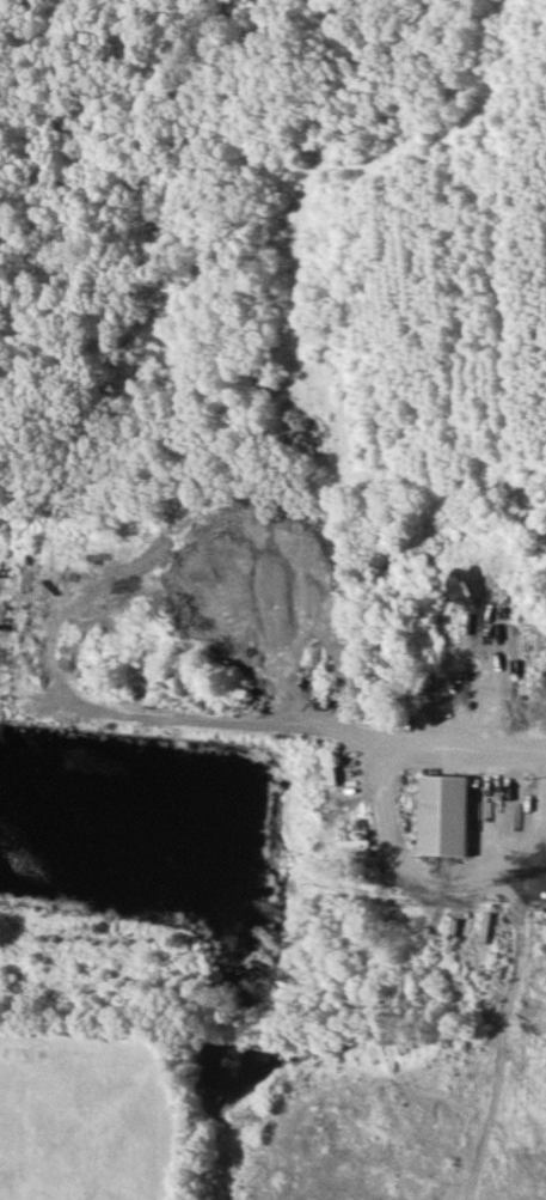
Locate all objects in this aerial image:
airport: (35, 5)
road: (320, 714)
building: (444, 814)
road: (424, 878)
airport: (92, 1113)

